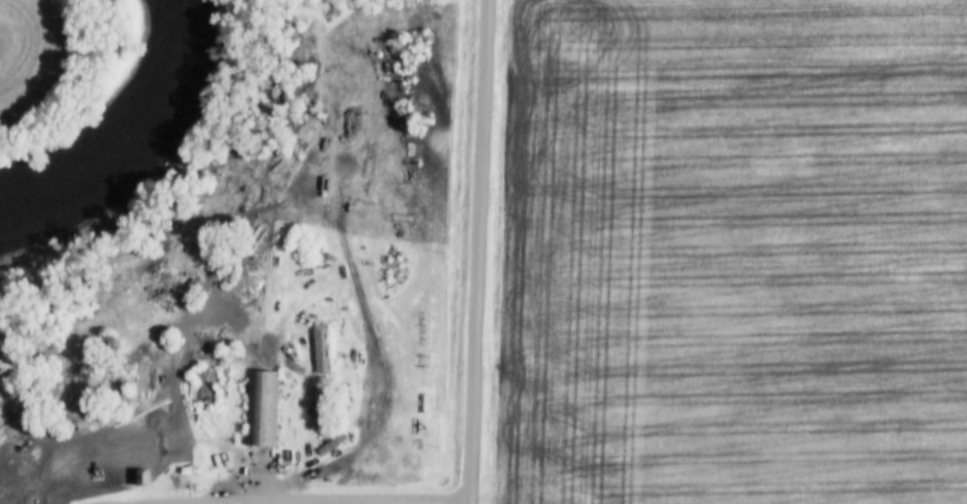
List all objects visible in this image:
river: (121, 133)
road: (479, 252)
crop: (737, 253)
building: (320, 346)
building: (260, 407)
road: (309, 501)

